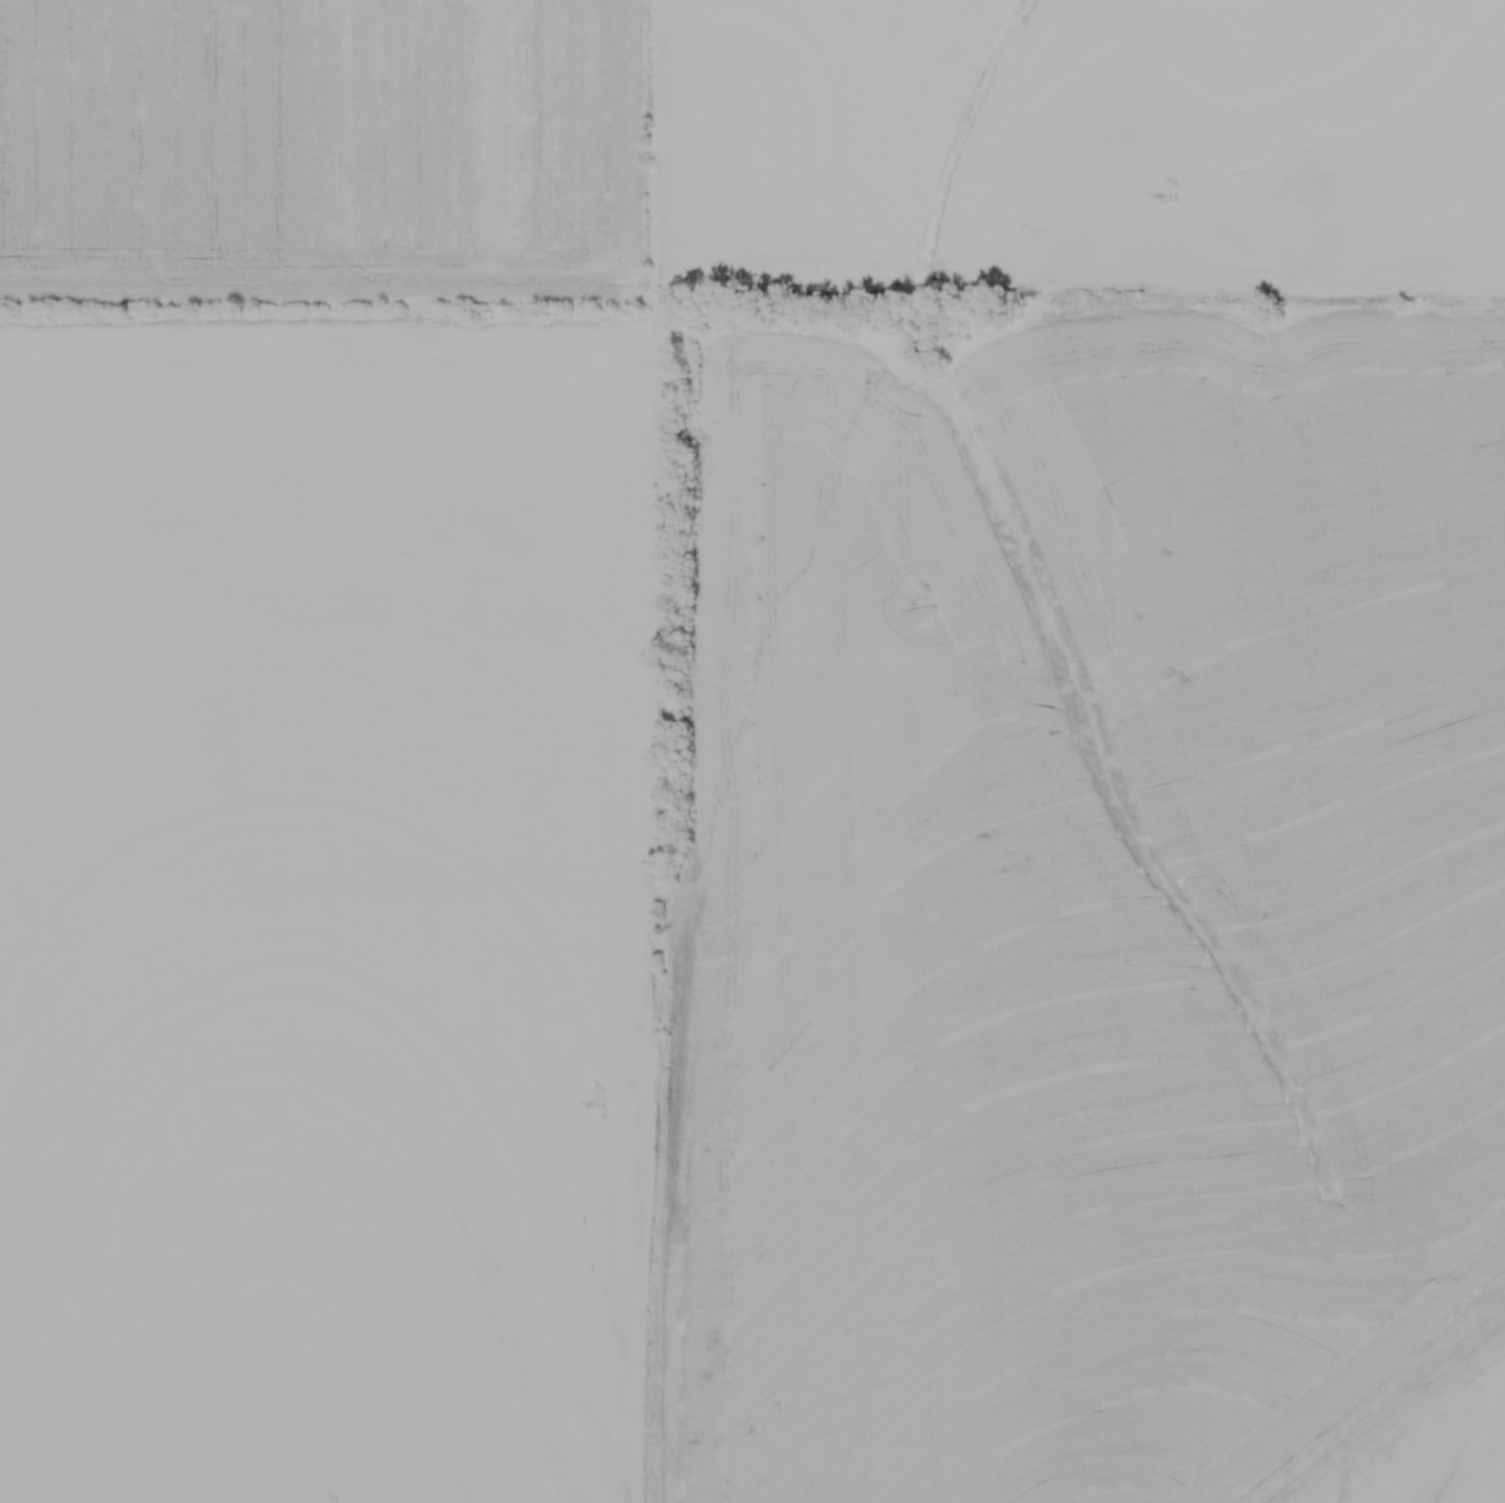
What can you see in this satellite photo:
road: (664, 163)
power tower: (1173, 200)
power tower: (926, 602)
power tower: (600, 1102)

